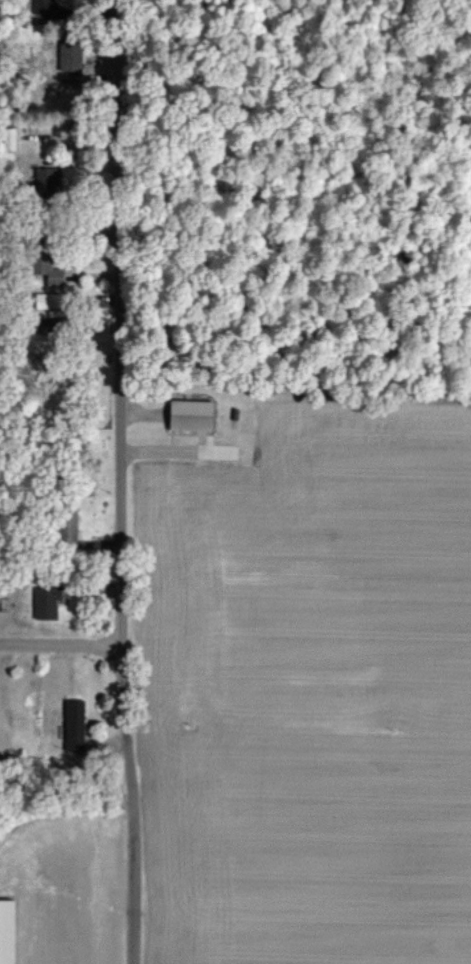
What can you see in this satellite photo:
building: (8, 138)
building: (45, 178)
building: (46, 269)
building: (47, 301)
road: (137, 410)
building: (189, 415)
road: (169, 447)
road: (118, 482)
building: (65, 527)
building: (44, 602)
road: (59, 643)
building: (73, 726)

